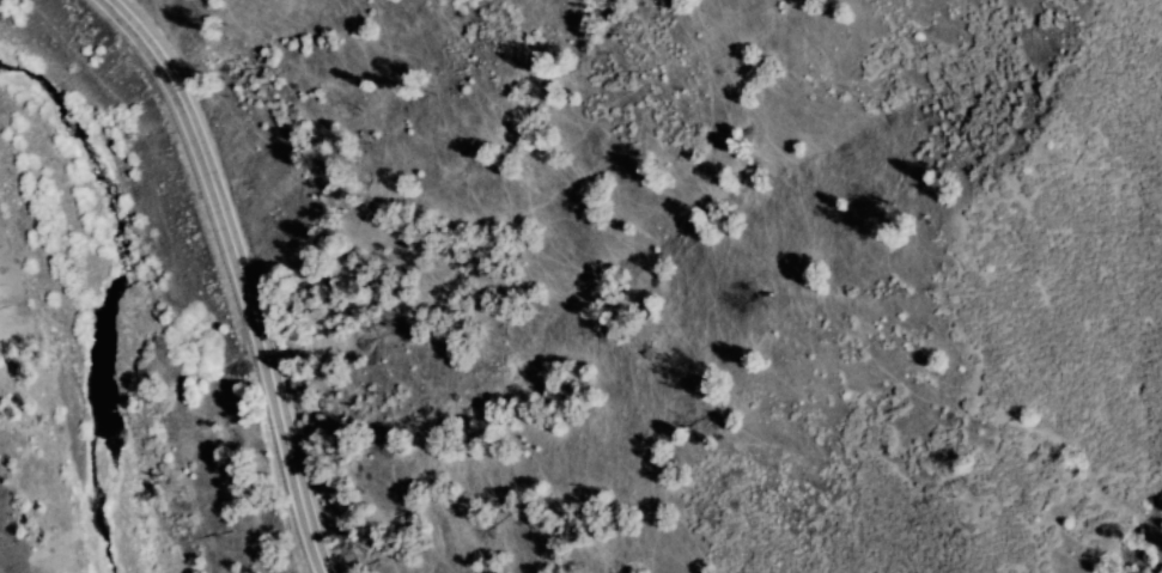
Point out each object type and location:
road: (237, 273)

